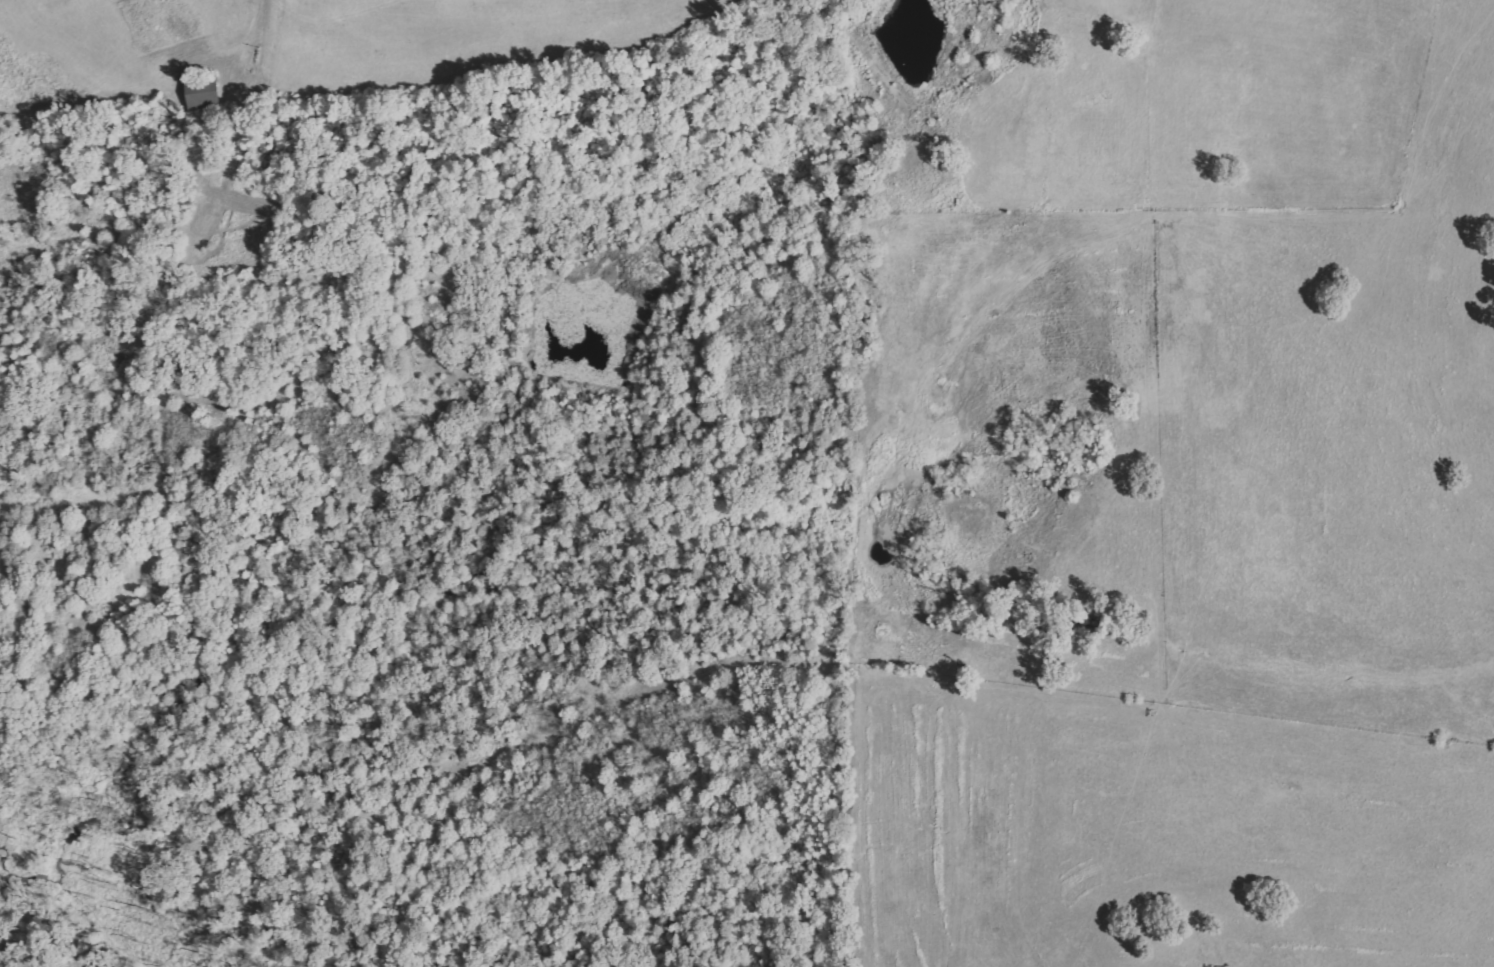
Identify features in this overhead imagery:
building: (200, 94)

